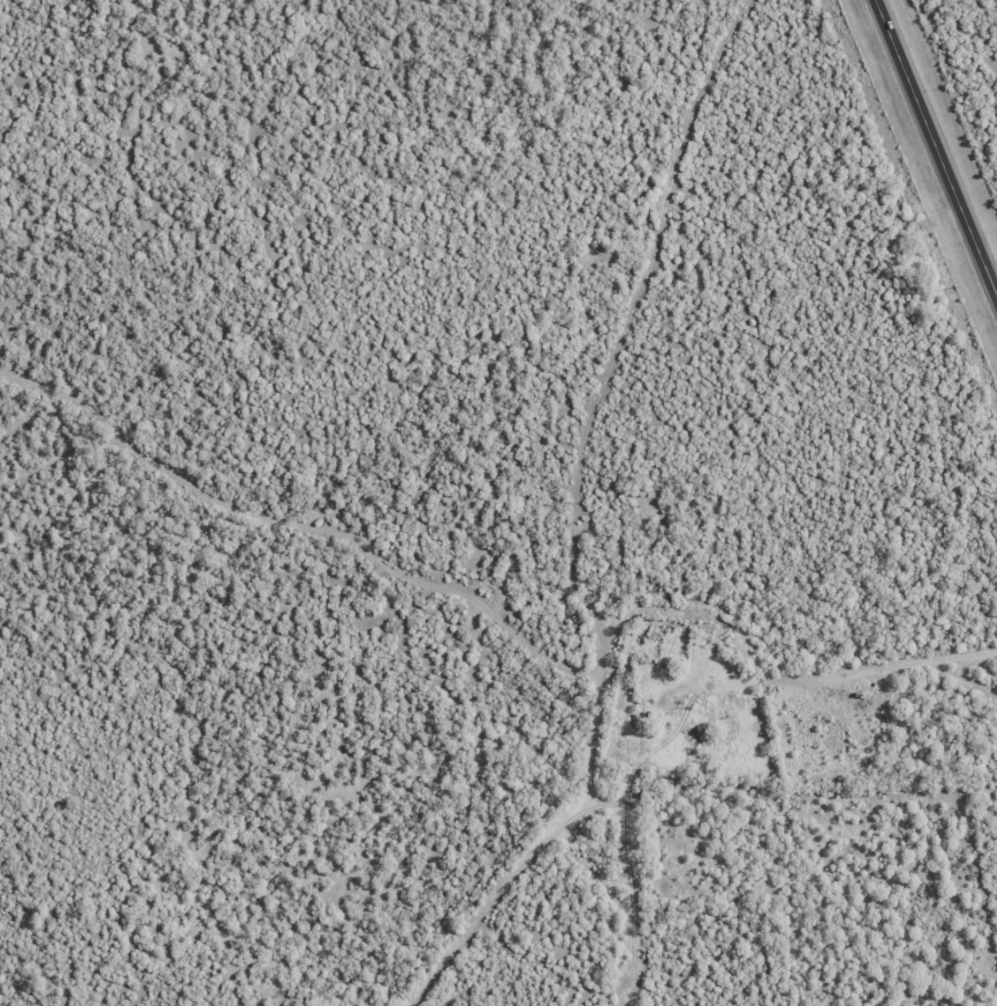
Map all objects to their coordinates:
power tower: (835, 15)
road: (937, 143)
power tower: (946, 288)
road: (918, 666)

